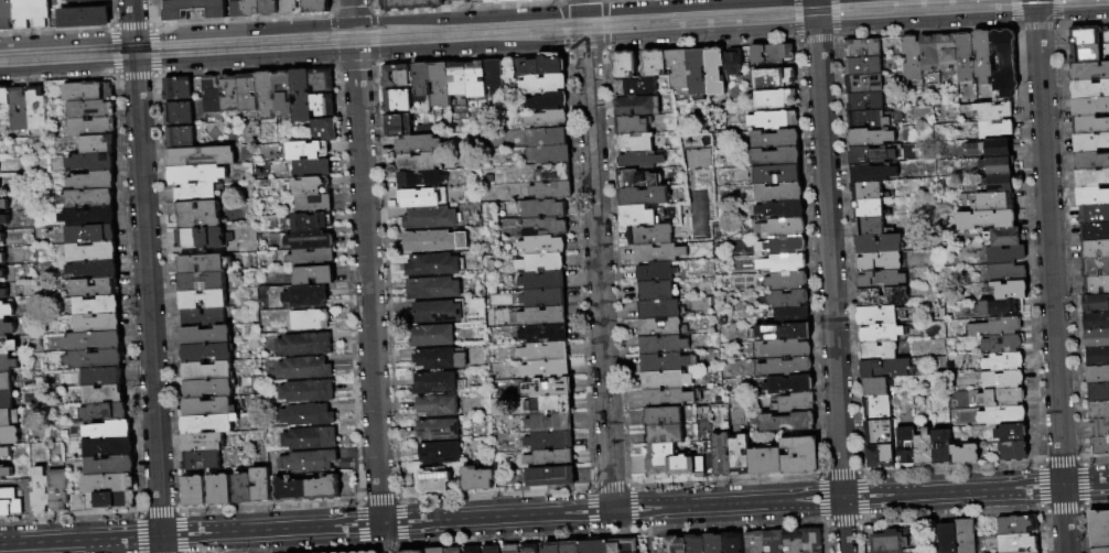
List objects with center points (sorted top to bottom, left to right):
building: (79, 0)
building: (478, 1)
building: (508, 1)
road: (562, 1)
road: (573, 1)
building: (459, 2)
building: (411, 4)
road: (583, 4)
road: (669, 4)
road: (372, 6)
building: (287, 7)
building: (315, 7)
road: (331, 7)
road: (467, 7)
building: (251, 8)
building: (269, 8)
building: (194, 9)
building: (236, 9)
road: (1035, 9)
road: (352, 10)
road: (1056, 12)
building: (21, 13)
building: (39, 13)
road: (147, 13)
road: (352, 13)
road: (1015, 13)
building: (6, 14)
road: (816, 14)
road: (467, 15)
road: (1073, 15)
building: (83, 17)
road: (131, 17)
road: (243, 19)
road: (373, 19)
road: (564, 19)
road: (797, 19)
road: (835, 19)
road: (332, 21)
road: (926, 23)
road: (1083, 23)
road: (132, 24)
road: (605, 24)
railway: (383, 26)
road: (1036, 26)
road: (243, 28)
road: (374, 28)
railway: (486, 28)
road: (527, 28)
road: (56, 29)
road: (333, 30)
railway: (554, 31)
road: (926, 32)
road: (701, 35)
building: (1078, 35)
railway: (580, 36)
road: (66, 37)
road: (817, 37)
building: (1107, 37)
road: (566, 45)
road: (702, 45)
road: (375, 46)
building: (861, 47)
road: (334, 48)
road: (470, 48)
building: (927, 48)
building: (945, 48)
road: (154, 50)
road: (133, 51)
road: (585, 51)
road: (114, 52)
building: (771, 53)
building: (1078, 54)
building: (981, 55)
building: (962, 57)
road: (471, 58)
building: (909, 58)
road: (245, 61)
building: (653, 62)
building: (732, 62)
building: (1002, 62)
road: (355, 64)
building: (623, 64)
building: (862, 65)
building: (538, 67)
building: (677, 68)
road: (67, 69)
road: (245, 71)
building: (696, 71)
building: (713, 71)
building: (1086, 72)
building: (396, 76)
building: (492, 76)
road: (136, 77)
building: (773, 77)
building: (456, 79)
building: (474, 79)
road: (57, 80)
building: (421, 80)
building: (320, 82)
building: (861, 83)
building: (543, 84)
building: (440, 86)
building: (635, 86)
building: (181, 88)
building: (1087, 89)
building: (88, 91)
building: (246, 93)
building: (281, 93)
building: (228, 94)
building: (209, 95)
building: (263, 95)
building: (4, 96)
building: (300, 96)
building: (773, 98)
building: (863, 100)
building: (398, 101)
building: (546, 102)
building: (321, 106)
building: (636, 106)
building: (1085, 107)
building: (36, 109)
building: (91, 109)
building: (19, 110)
building: (986, 112)
building: (182, 113)
building: (871, 118)
building: (548, 120)
building: (772, 120)
building: (631, 124)
building: (398, 126)
building: (1086, 126)
building: (91, 128)
building: (322, 128)
building: (988, 130)
building: (869, 135)
building: (183, 138)
building: (548, 138)
building: (775, 139)
building: (635, 142)
building: (1087, 142)
building: (419, 144)
building: (98, 145)
building: (982, 149)
building: (304, 151)
building: (871, 153)
building: (549, 155)
building: (775, 156)
building: (204, 158)
building: (639, 160)
building: (1088, 161)
building: (93, 162)
building: (420, 162)
building: (990, 166)
building: (308, 169)
building: (553, 173)
building: (870, 173)
building: (776, 174)
building: (200, 175)
building: (637, 178)
building: (1088, 178)
building: (420, 180)
building: (94, 181)
building: (992, 184)
building: (308, 186)
building: (552, 191)
building: (865, 191)
building: (778, 192)
building: (198, 194)
building: (643, 196)
building: (1088, 197)
building: (89, 198)
building: (421, 198)
building: (988, 203)
building: (312, 204)
building: (3, 205)
building: (780, 208)
building: (866, 208)
building: (543, 209)
building: (1090, 215)
building: (201, 216)
building: (637, 216)
building: (89, 217)
building: (431, 218)
building: (979, 220)
building: (3, 221)
building: (308, 221)
building: (866, 226)
building: (545, 227)
building: (779, 227)
building: (1091, 232)
building: (93, 235)
building: (649, 235)
building: (998, 237)
building: (1, 239)
building: (203, 239)
building: (308, 240)
building: (433, 242)
building: (876, 242)
building: (542, 245)
building: (780, 245)
building: (1091, 250)
building: (658, 252)
building: (93, 253)
building: (999, 256)
building: (309, 257)
building: (2, 259)
building: (782, 261)
building: (877, 261)
building: (541, 263)
road: (829, 263)
building: (206, 264)
building: (433, 267)
building: (1091, 268)
building: (96, 270)
building: (657, 271)
building: (999, 273)
building: (3, 274)
building: (312, 275)
road: (597, 276)
building: (879, 279)
road: (387, 280)
building: (785, 280)
building: (542, 281)
building: (205, 282)
road: (347, 282)
road: (1051, 284)
building: (1092, 285)
building: (95, 289)
road: (367, 289)
building: (434, 289)
building: (656, 290)
building: (1003, 291)
building: (3, 294)
building: (882, 295)
building: (309, 297)
building: (543, 299)
building: (786, 299)
building: (205, 300)
building: (1090, 303)
building: (97, 306)
building: (998, 307)
building: (659, 308)
road: (148, 310)
building: (976, 310)
building: (6, 311)
building: (437, 313)
building: (880, 314)
building: (790, 315)
building: (543, 316)
building: (206, 318)
building: (314, 321)
building: (1092, 322)
building: (98, 324)
building: (661, 327)
building: (989, 327)
building: (7, 329)
building: (782, 332)
building: (880, 333)
building: (545, 335)
building: (208, 336)
building: (433, 336)
building: (1094, 339)
building: (94, 341)
building: (663, 343)
building: (994, 344)
building: (308, 345)
building: (7, 347)
building: (785, 349)
building: (876, 350)
building: (209, 353)
building: (546, 353)
building: (1094, 356)
building: (440, 359)
building: (95, 360)
building: (665, 360)
building: (997, 362)
building: (8, 365)
building: (784, 366)
building: (885, 368)
building: (308, 369)
building: (547, 370)
building: (209, 371)
building: (1094, 375)
building: (103, 377)
building: (665, 380)
building: (994, 380)
building: (6, 382)
building: (435, 383)
building: (788, 383)
building: (875, 386)
building: (212, 389)
building: (549, 389)
building: (311, 392)
building: (1096, 392)
building: (105, 397)
building: (668, 398)
building: (993, 399)
building: (6, 400)
building: (794, 403)
building: (439, 405)
building: (549, 405)
building: (875, 405)
building: (212, 408)
building: (1096, 411)
building: (105, 413)
building: (311, 415)
building: (664, 416)
building: (994, 416)
building: (6, 419)
building: (787, 422)
building: (550, 423)
building: (212, 424)
building: (1097, 429)
building: (439, 430)
building: (109, 431)
building: (873, 432)
building: (664, 434)
building: (1004, 434)
building: (9, 436)
building: (313, 440)
building: (550, 442)
building: (205, 443)
building: (900, 446)
building: (935, 446)
building: (1097, 446)
building: (109, 448)
building: (917, 449)
building: (1006, 452)
building: (4, 453)
building: (441, 454)
building: (958, 454)
building: (714, 455)
building: (732, 455)
building: (792, 456)
building: (875, 457)
building: (550, 458)
building: (671, 460)
building: (204, 462)
building: (312, 462)
building: (757, 462)
building: (111, 467)
building: (4, 473)
building: (551, 477)
building: (478, 479)
building: (434, 481)
building: (259, 482)
building: (109, 485)
building: (241, 487)
building: (322, 487)
building: (218, 488)
building: (289, 488)
building: (193, 489)
building: (41, 491)
building: (58, 491)
road: (379, 498)
road: (399, 499)
road: (359, 500)
building: (110, 501)
building: (10, 503)
road: (270, 507)
road: (159, 511)
road: (180, 511)
road: (140, 513)
road: (554, 513)
road: (400, 522)
road: (360, 523)
road: (843, 525)
building: (1013, 525)
building: (1097, 529)
road: (181, 533)
road: (140, 535)
building: (961, 536)
building: (940, 539)
building: (806, 540)
building: (788, 541)
building: (887, 541)
building: (749, 542)
building: (768, 542)
building: (708, 543)
building: (726, 543)
building: (1015, 543)
building: (669, 544)
building: (690, 544)
building: (616, 545)
park: (647, 545)
road: (383, 546)
building: (561, 546)
building: (588, 546)
building: (542, 547)
building: (504, 549)
building: (523, 549)
road: (302, 550)
building: (446, 550)
building: (467, 550)
building: (485, 550)
building: (1098, 550)
building: (430, 551)
building: (367, 552)
building: (370, 552)
building: (410, 552)
building: (1032, 552)

